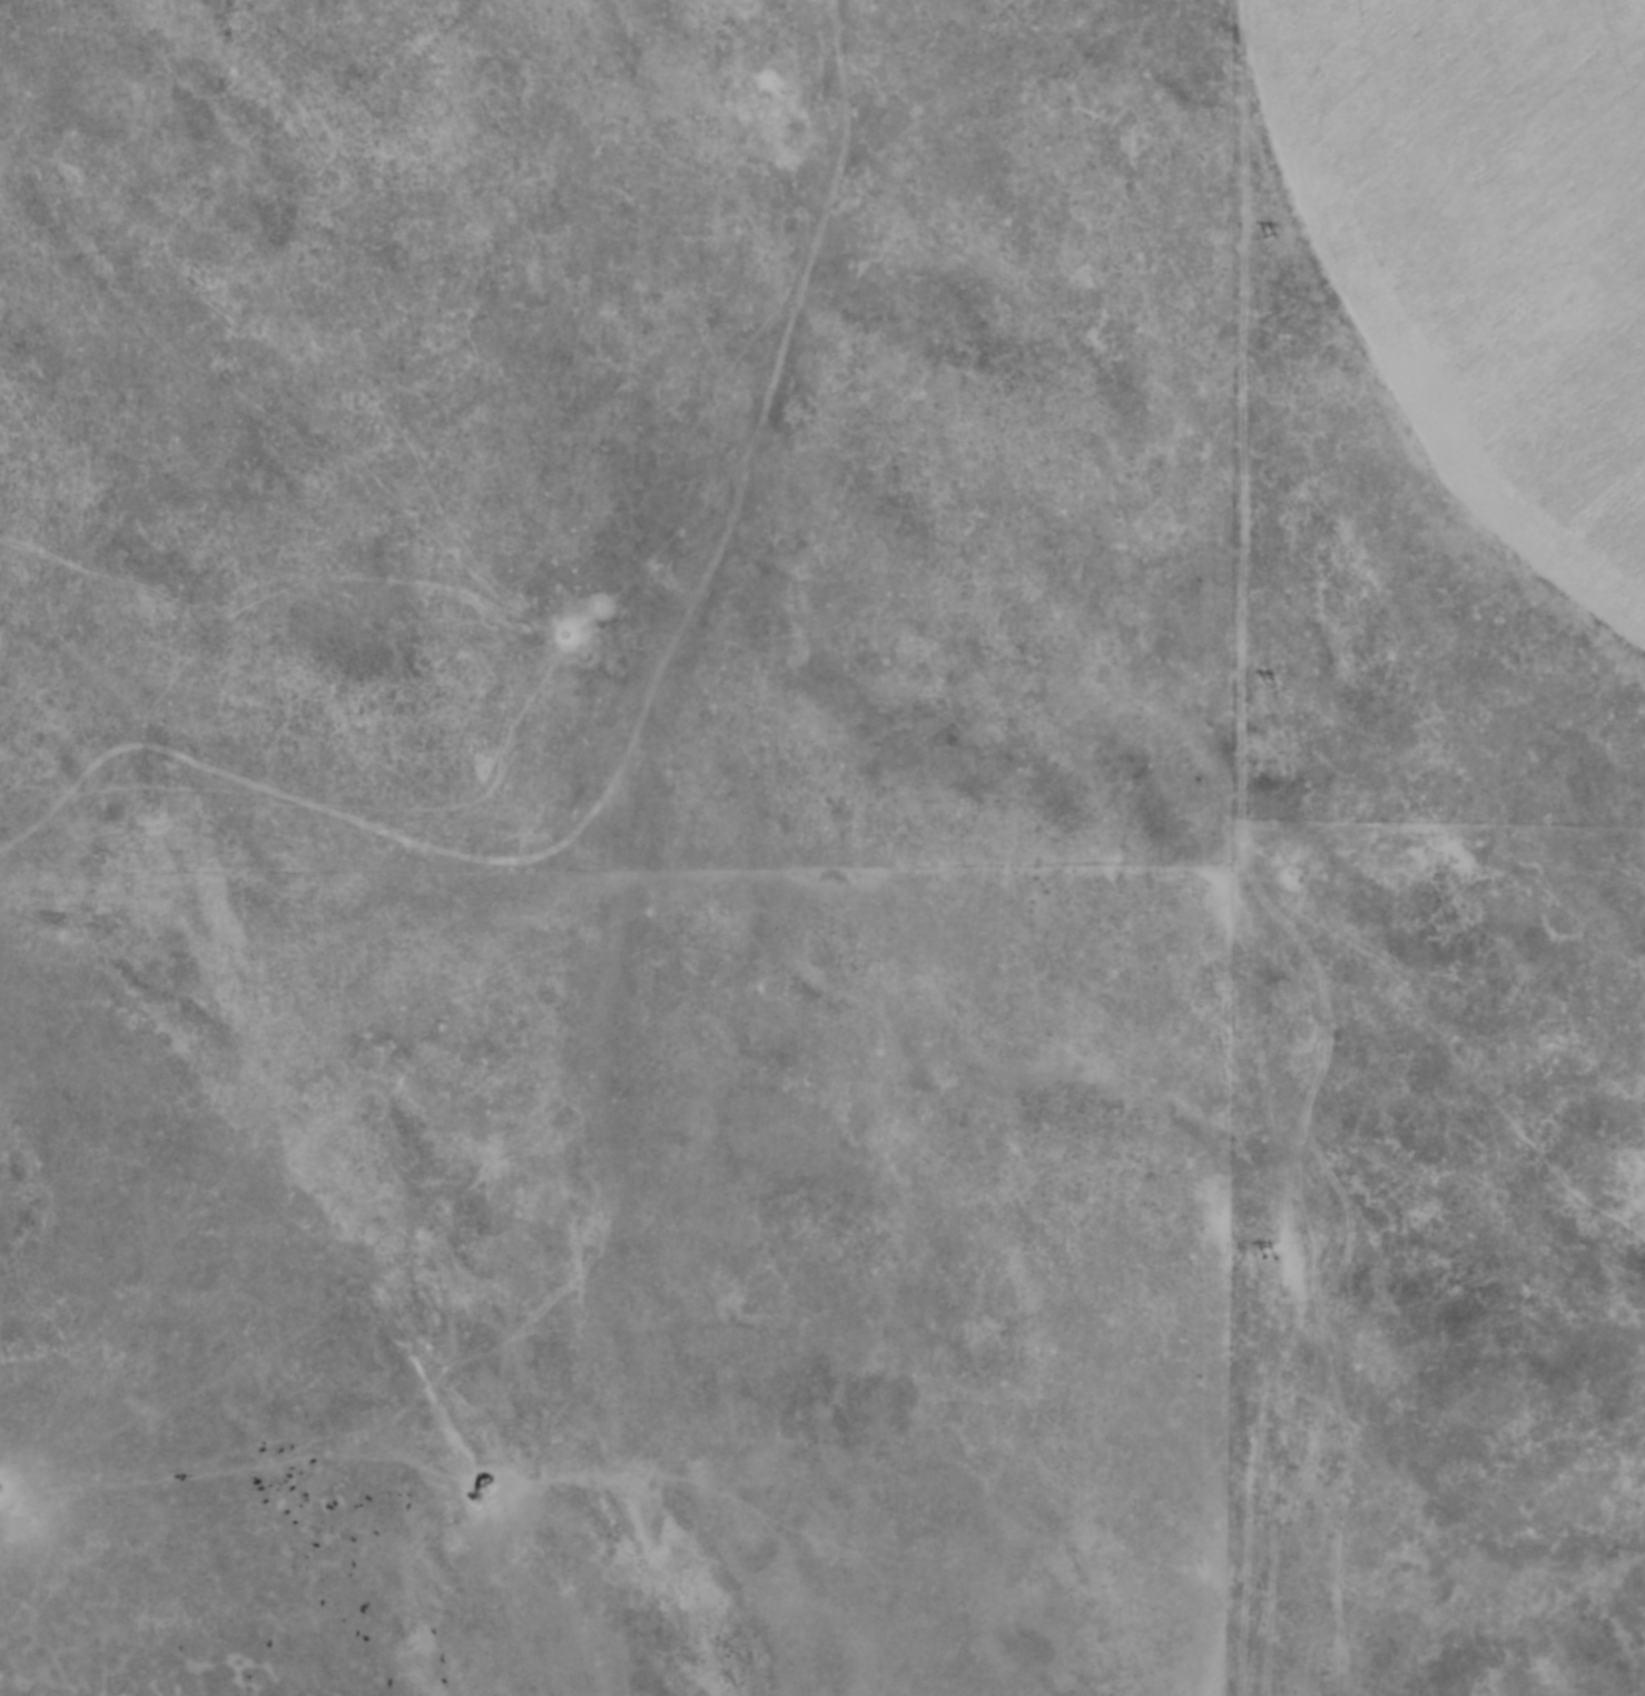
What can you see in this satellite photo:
power tower: (1267, 237)
crop: (1486, 247)
power tower: (1267, 686)
road: (634, 726)
power tower: (1268, 1258)

